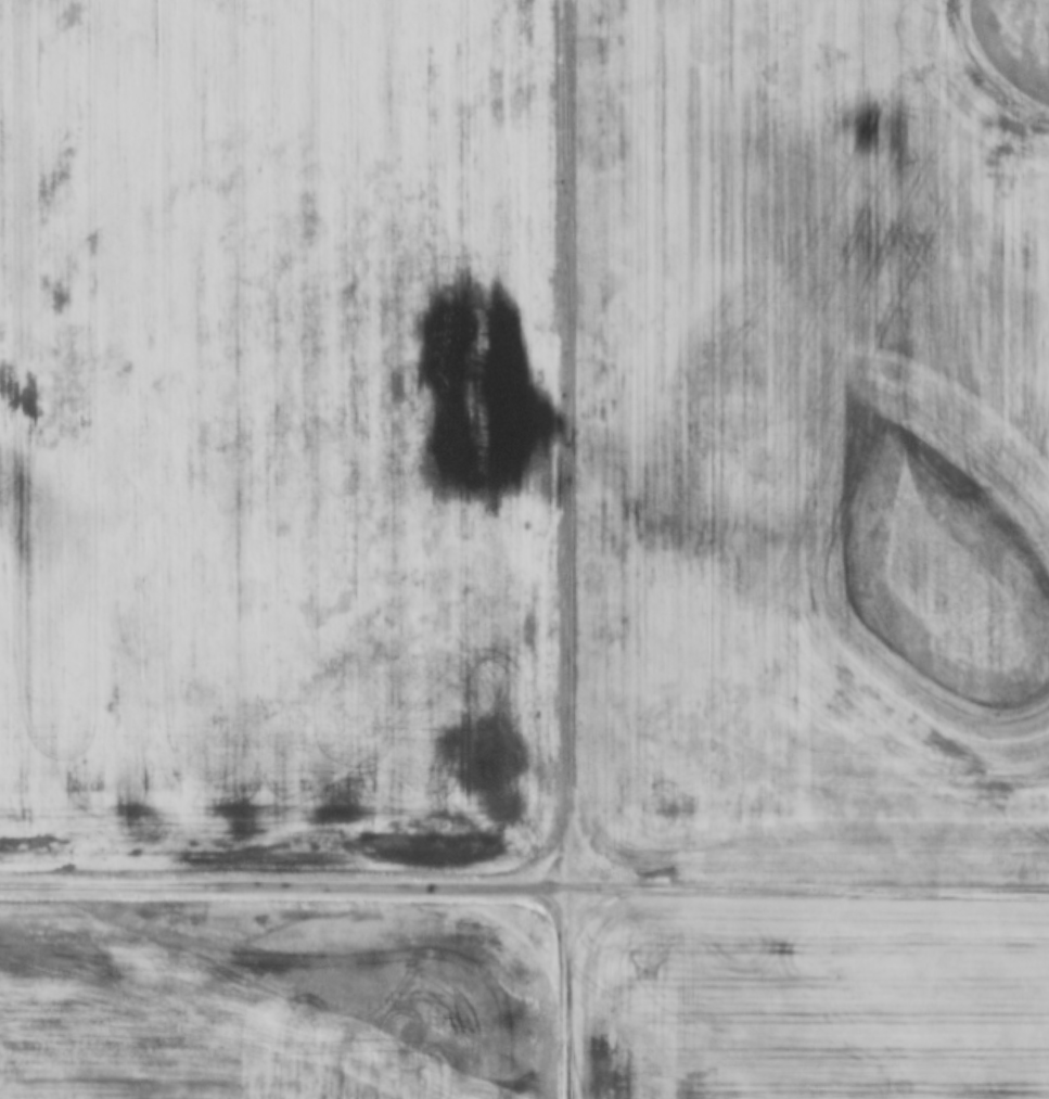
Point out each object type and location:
road: (560, 549)
road: (524, 881)

